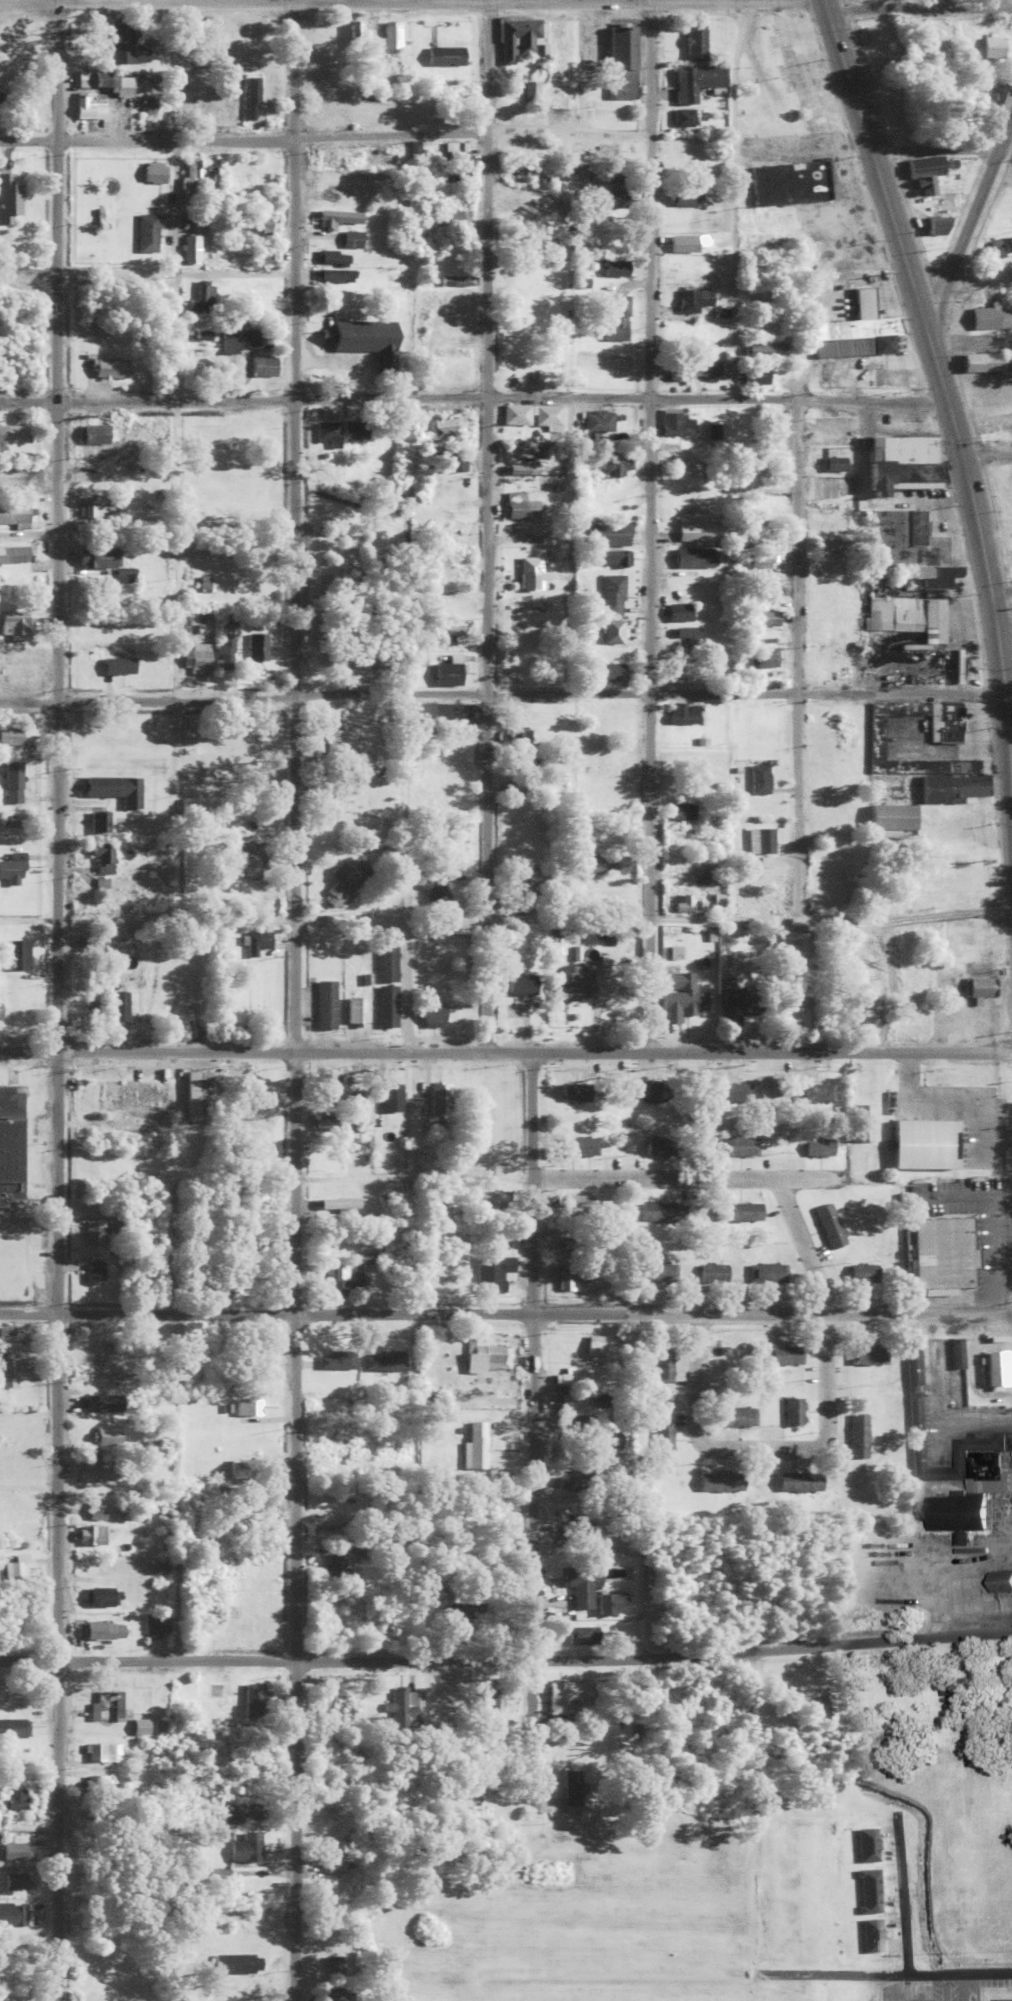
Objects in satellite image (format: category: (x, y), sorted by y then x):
road: (917, 2)
road: (324, 133)
road: (939, 147)
road: (1011, 150)
road: (729, 196)
road: (172, 197)
road: (969, 216)
road: (145, 268)
road: (922, 317)
road: (473, 392)
road: (986, 447)
road: (484, 523)
road: (648, 523)
road: (567, 543)
road: (1005, 640)
road: (794, 654)
road: (1001, 664)
road: (648, 692)
road: (146, 696)
road: (1008, 747)
road: (506, 914)
road: (54, 1000)
road: (291, 1000)
road: (506, 1048)
road: (931, 1113)
road: (771, 1175)
road: (412, 1176)
road: (801, 1242)
road: (505, 1309)
road: (531, 1403)
road: (760, 1448)
road: (175, 1483)
road: (411, 1483)
road: (506, 1654)

